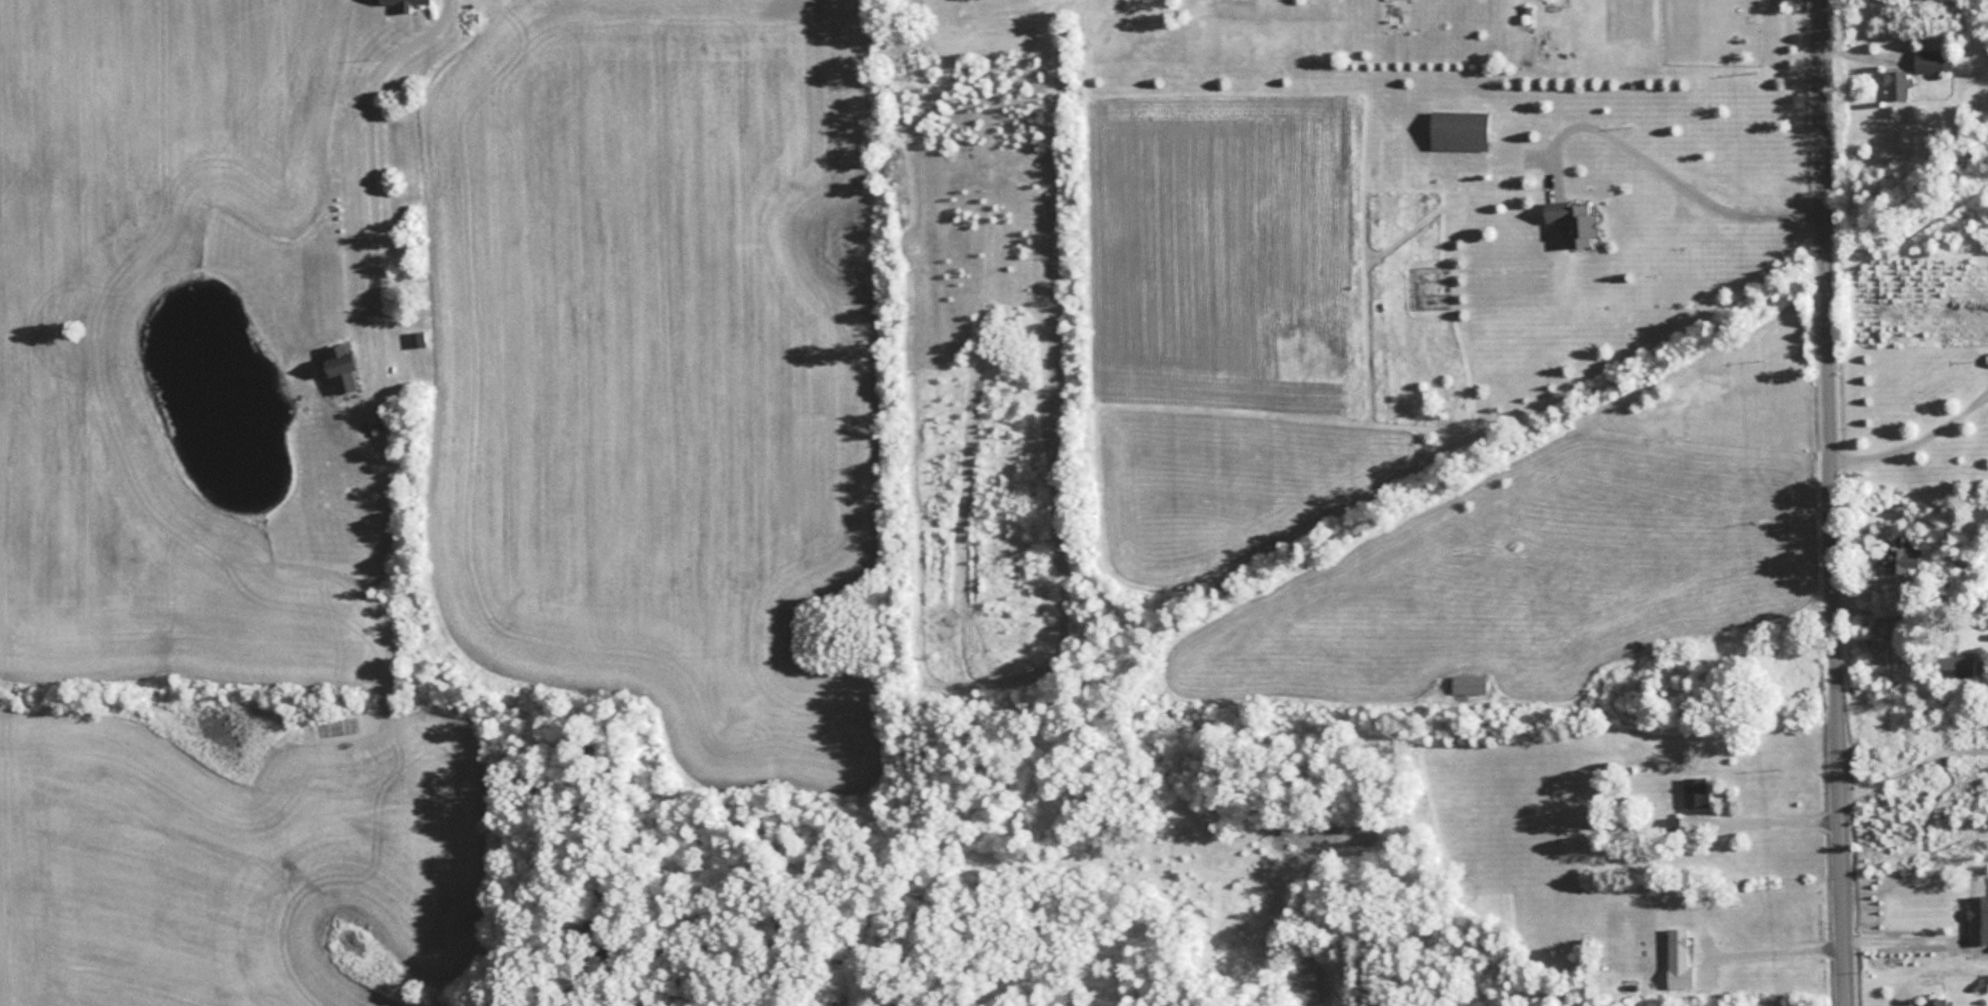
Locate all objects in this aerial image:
building: (404, 3)
building: (469, 18)
building: (1929, 60)
building: (1895, 84)
building: (1458, 131)
road: (1670, 165)
building: (1574, 224)
building: (417, 338)
building: (341, 367)
road: (1835, 502)
building: (1899, 559)
building: (1956, 666)
building: (1469, 683)
building: (1695, 791)
building: (1977, 919)
building: (1677, 946)
building: (1934, 1001)

